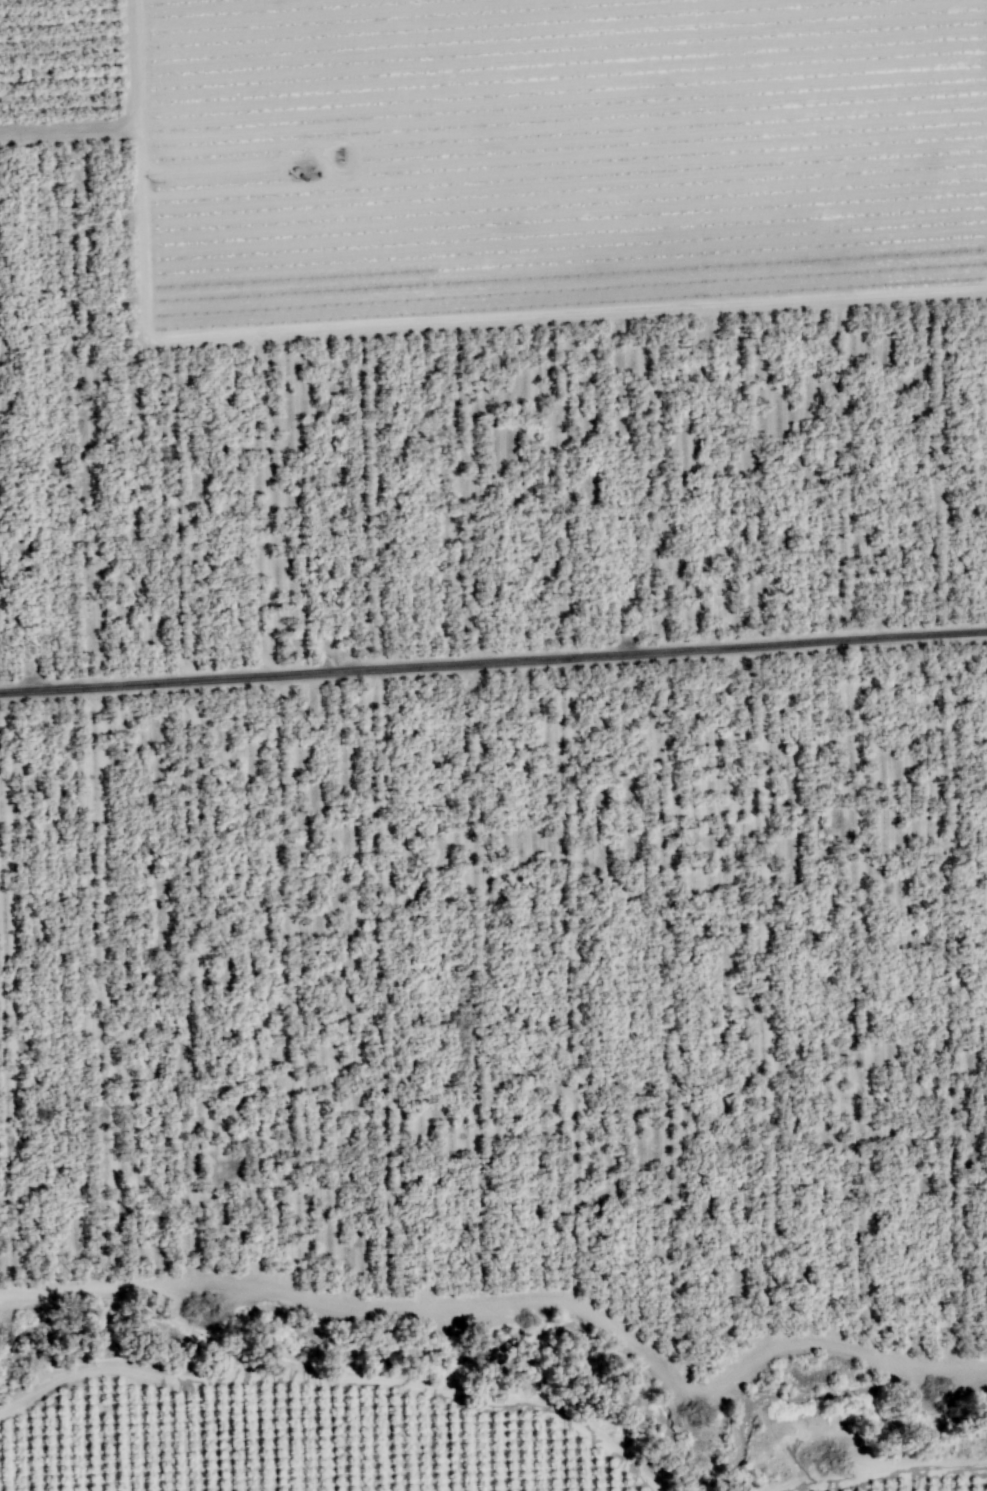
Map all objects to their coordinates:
road: (127, 124)
road: (275, 127)
road: (454, 323)
road: (493, 664)
road: (514, 1300)
road: (339, 1379)
road: (769, 1428)
road: (882, 1468)
road: (984, 1470)

